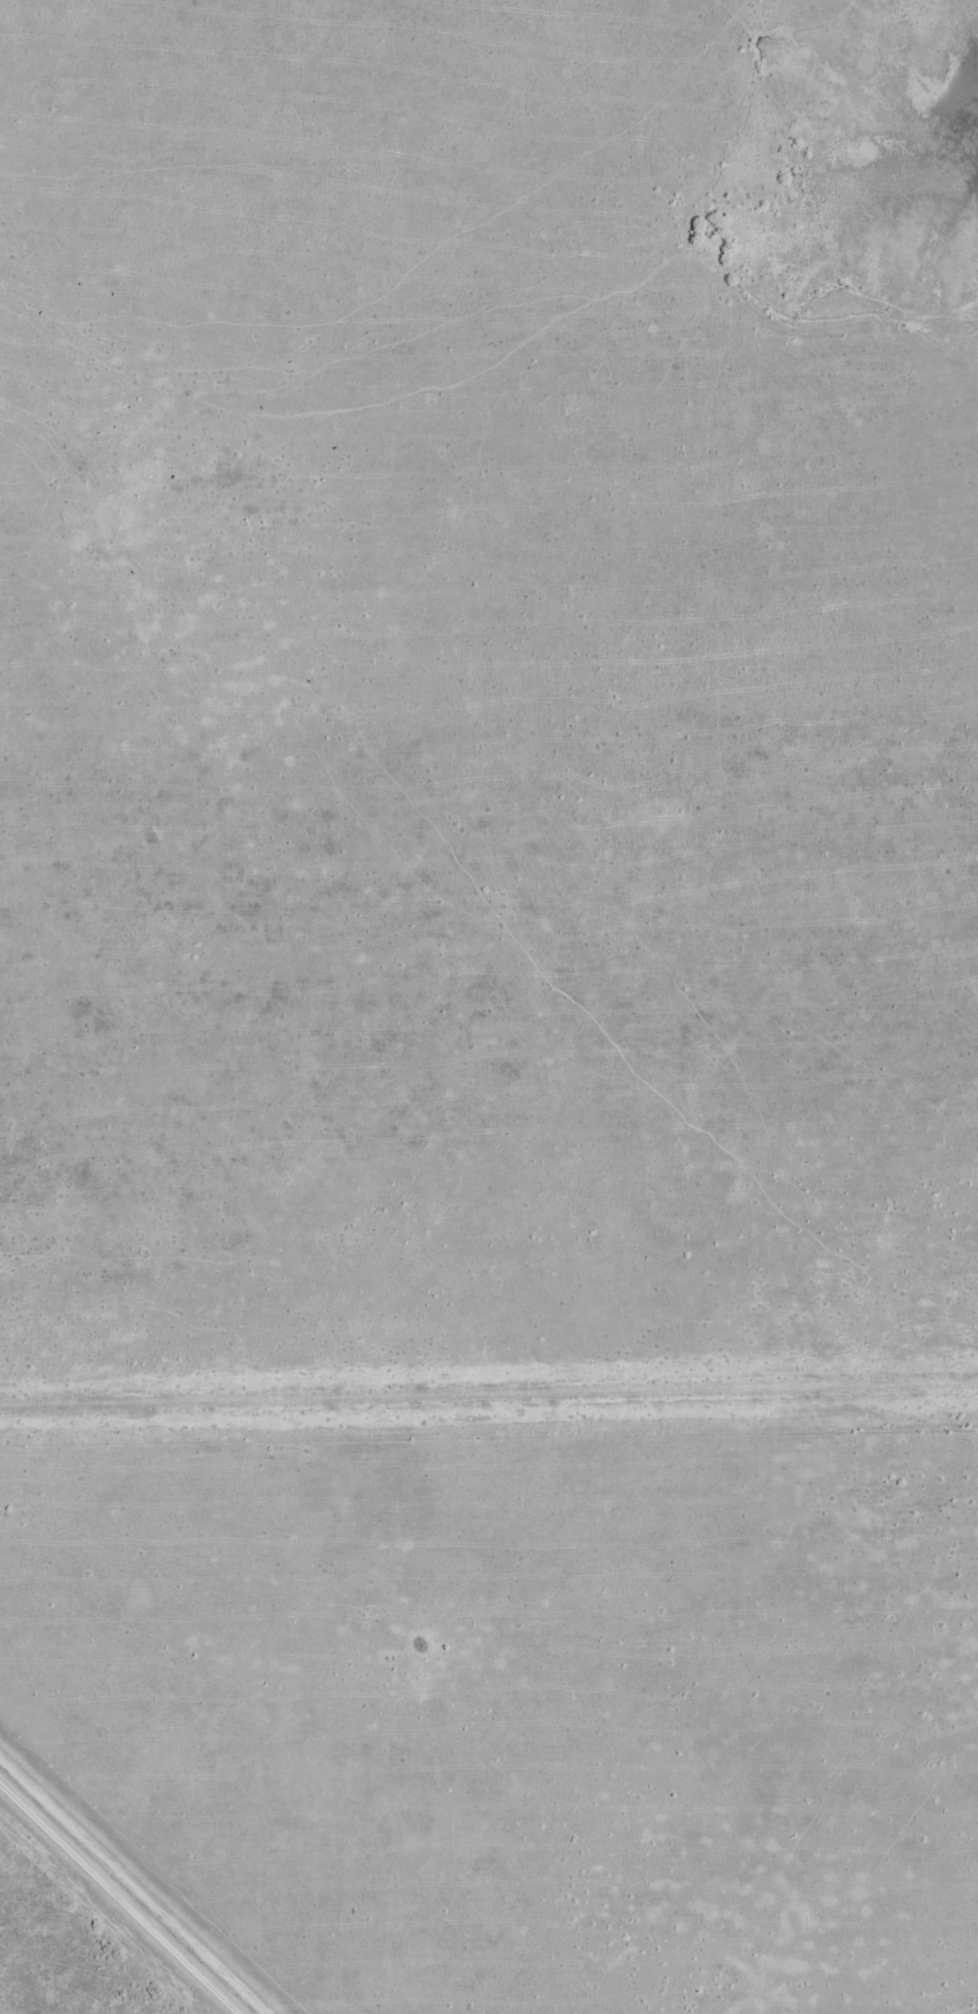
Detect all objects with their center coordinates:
road: (119, 1899)

